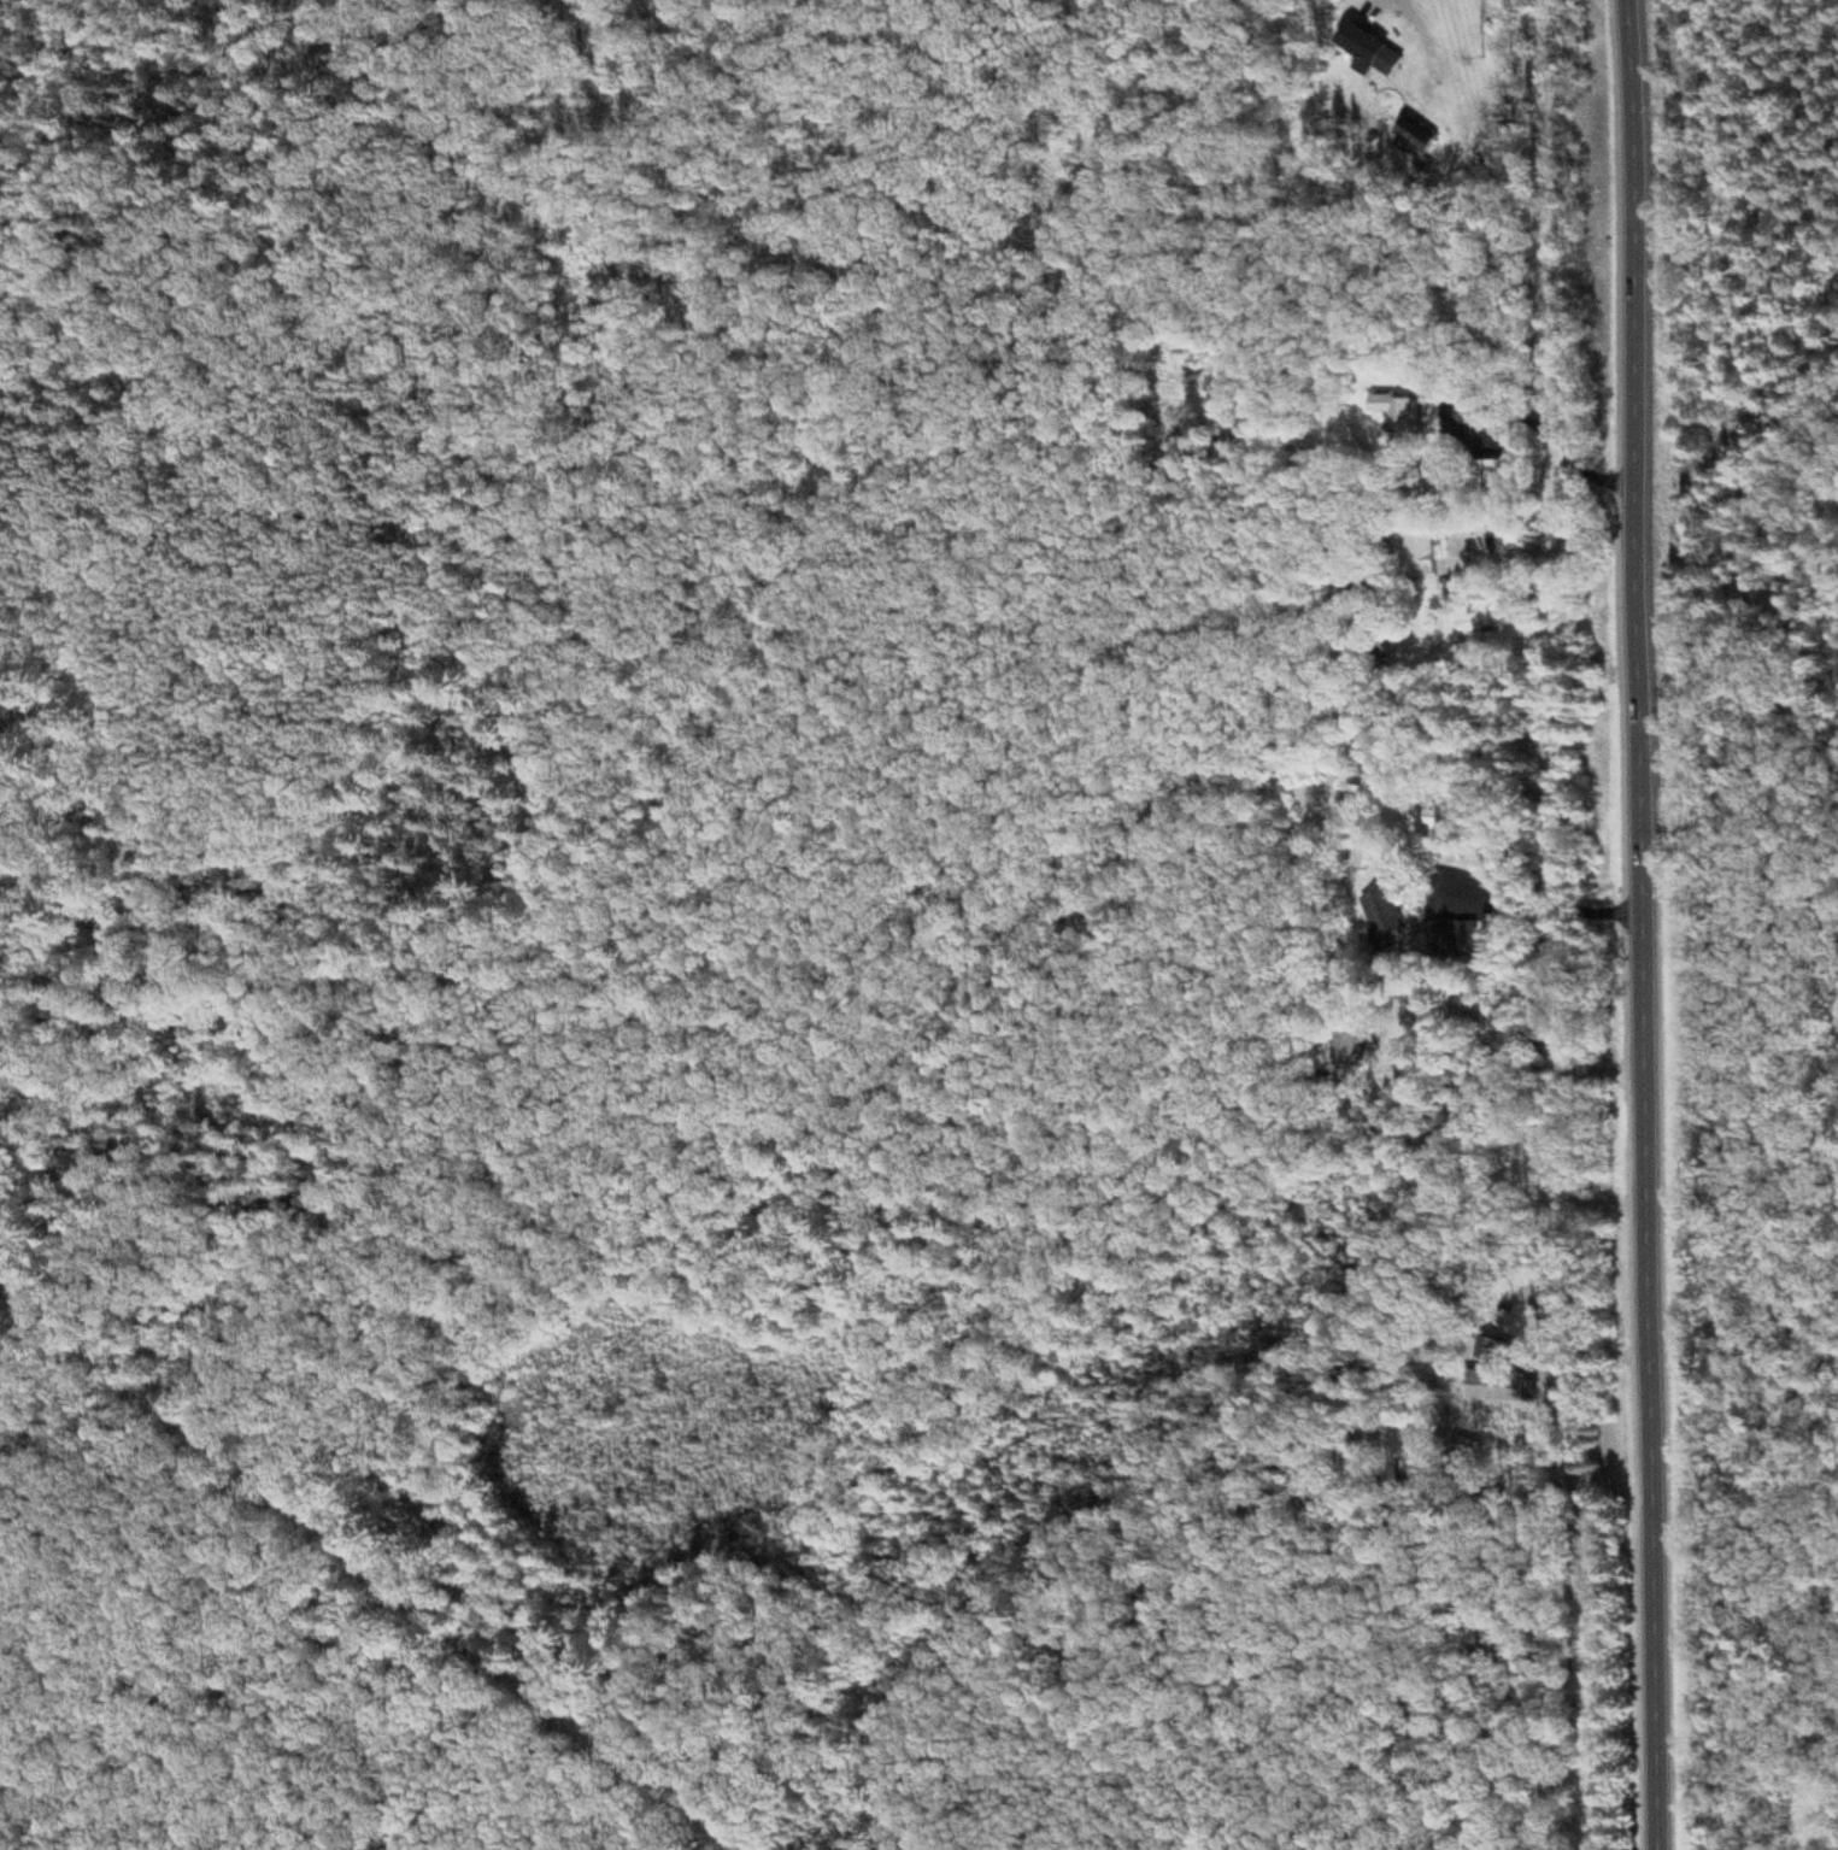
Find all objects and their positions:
building: (1357, 46)
building: (1407, 131)
building: (1423, 419)
building: (1509, 542)
building: (1429, 547)
building: (1454, 823)
building: (1396, 915)
road: (1639, 924)
building: (1469, 940)
building: (1362, 1046)
building: (1507, 1388)

